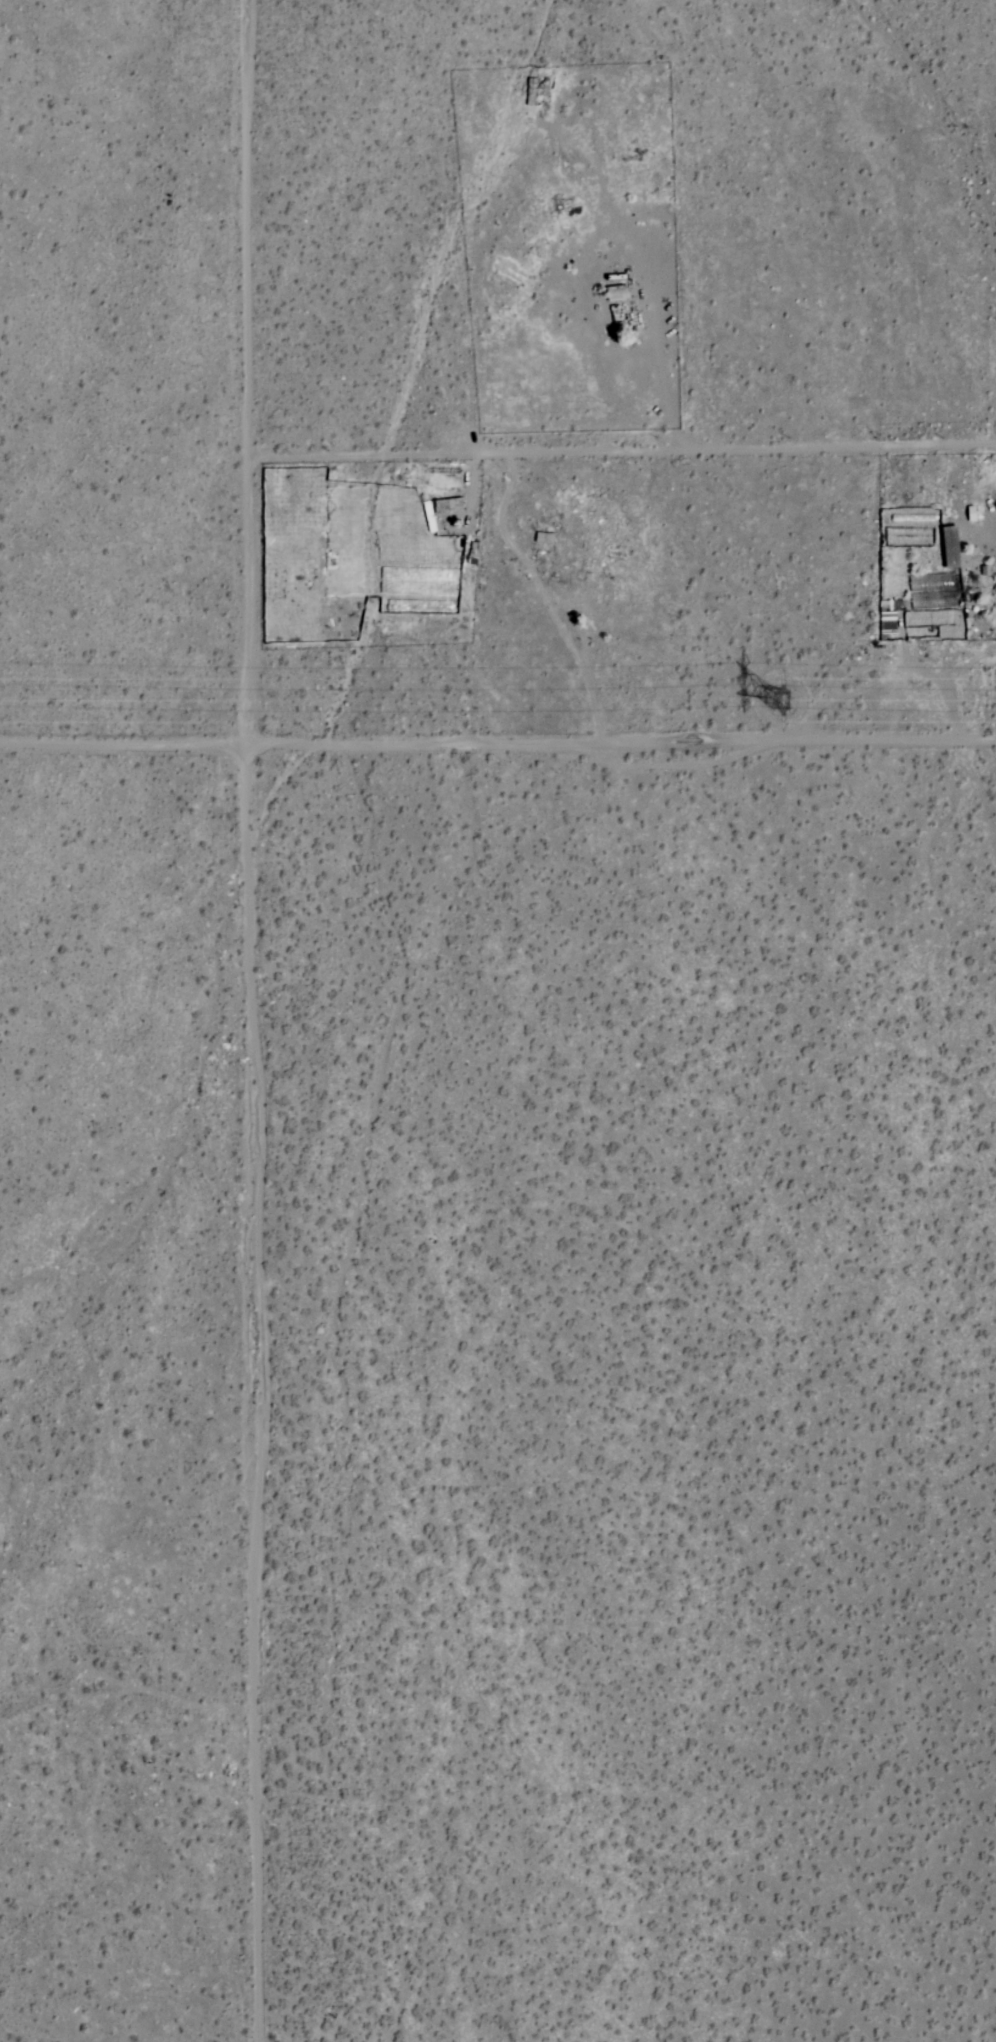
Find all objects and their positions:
road: (630, 445)
power tower: (796, 705)
road: (497, 746)
road: (266, 1020)

